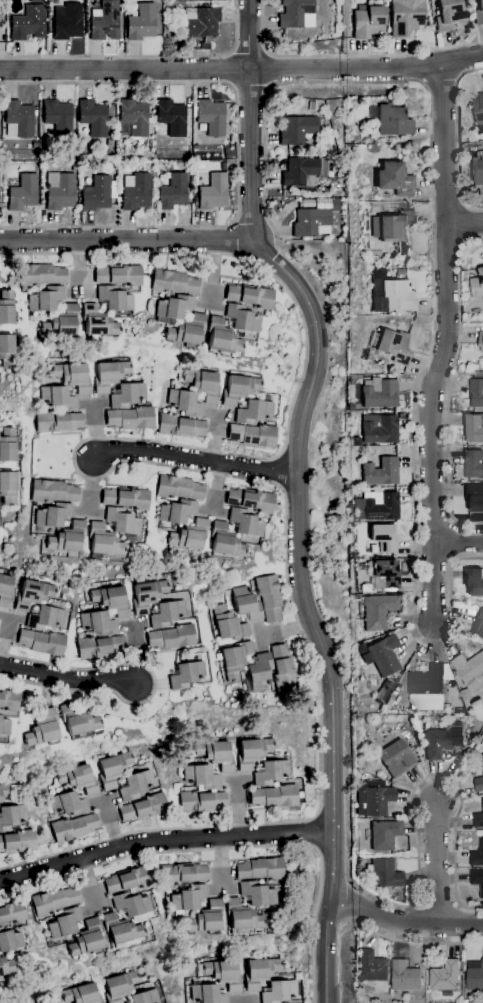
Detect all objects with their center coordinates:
building: (79, 0)
building: (295, 13)
building: (478, 13)
building: (449, 14)
building: (406, 16)
building: (67, 21)
building: (104, 21)
building: (368, 21)
building: (200, 22)
building: (28, 23)
building: (141, 23)
building: (204, 45)
road: (248, 49)
road: (349, 54)
road: (142, 57)
road: (463, 58)
road: (222, 70)
road: (230, 70)
road: (274, 70)
road: (411, 81)
road: (250, 88)
building: (311, 105)
building: (479, 110)
building: (211, 116)
building: (58, 117)
building: (93, 117)
building: (171, 117)
building: (133, 118)
building: (18, 119)
road: (250, 119)
building: (393, 119)
building: (202, 126)
building: (297, 129)
road: (458, 138)
building: (81, 139)
building: (109, 142)
building: (35, 145)
building: (147, 148)
building: (185, 149)
road: (238, 155)
building: (477, 168)
building: (300, 172)
building: (395, 179)
building: (59, 191)
building: (135, 192)
building: (172, 192)
building: (213, 192)
building: (22, 193)
building: (98, 193)
building: (117, 200)
building: (314, 218)
road: (464, 224)
building: (394, 230)
road: (126, 239)
building: (41, 275)
building: (118, 275)
building: (173, 282)
building: (477, 283)
building: (395, 294)
building: (250, 296)
building: (46, 299)
building: (114, 299)
building: (174, 306)
building: (6, 307)
building: (242, 318)
building: (62, 322)
building: (97, 322)
building: (186, 330)
building: (222, 337)
building: (480, 339)
road: (444, 342)
building: (392, 345)
building: (6, 352)
building: (109, 375)
building: (73, 376)
building: (204, 384)
road: (449, 386)
building: (239, 389)
building: (476, 390)
building: (380, 393)
building: (127, 395)
building: (58, 398)
building: (184, 403)
building: (253, 412)
building: (130, 418)
building: (58, 421)
building: (179, 426)
building: (380, 428)
building: (472, 428)
building: (252, 435)
building: (9, 444)
road: (199, 459)
building: (473, 462)
road: (152, 464)
building: (382, 472)
building: (7, 488)
building: (179, 488)
building: (53, 491)
building: (474, 496)
building: (126, 498)
building: (250, 500)
building: (381, 506)
building: (177, 511)
building: (53, 515)
building: (122, 521)
building: (245, 522)
building: (189, 535)
building: (68, 538)
building: (384, 538)
road: (458, 540)
building: (104, 541)
building: (225, 541)
road: (453, 541)
building: (374, 548)
building: (385, 574)
building: (474, 580)
road: (415, 586)
building: (5, 591)
building: (33, 594)
building: (147, 595)
building: (269, 597)
building: (112, 600)
building: (246, 604)
road: (306, 610)
building: (377, 610)
building: (166, 614)
building: (45, 618)
building: (98, 623)
building: (229, 624)
building: (479, 624)
building: (171, 637)
building: (42, 642)
building: (100, 647)
building: (382, 655)
building: (235, 659)
building: (283, 669)
building: (470, 669)
building: (259, 673)
building: (185, 675)
road: (66, 679)
building: (429, 679)
road: (154, 686)
building: (465, 694)
building: (381, 695)
building: (9, 700)
building: (78, 720)
building: (4, 727)
building: (43, 729)
building: (3, 738)
building: (442, 741)
building: (253, 752)
building: (217, 754)
building: (397, 758)
building: (481, 765)
building: (114, 769)
building: (270, 773)
building: (202, 777)
building: (79, 778)
building: (135, 785)
road: (417, 785)
building: (5, 791)
building: (274, 796)
building: (373, 798)
building: (202, 801)
building: (69, 804)
building: (144, 808)
building: (12, 816)
building: (478, 817)
building: (74, 827)
building: (385, 835)
road: (164, 841)
building: (18, 842)
road: (233, 849)
building: (477, 854)
road: (436, 862)
building: (260, 869)
building: (182, 873)
building: (384, 873)
building: (128, 879)
building: (477, 879)
building: (257, 893)
building: (188, 898)
building: (54, 901)
building: (131, 904)
building: (12, 913)
building: (242, 916)
building: (206, 918)
road: (405, 922)
building: (65, 923)
building: (121, 929)
building: (86, 939)
building: (10, 940)
road: (418, 942)
building: (7, 966)
building: (371, 966)
building: (260, 972)
building: (223, 974)
building: (475, 974)
building: (405, 975)
building: (445, 975)
building: (0, 979)
building: (120, 986)
building: (279, 991)
building: (207, 993)
building: (82, 994)
building: (145, 997)
building: (464, 1001)

